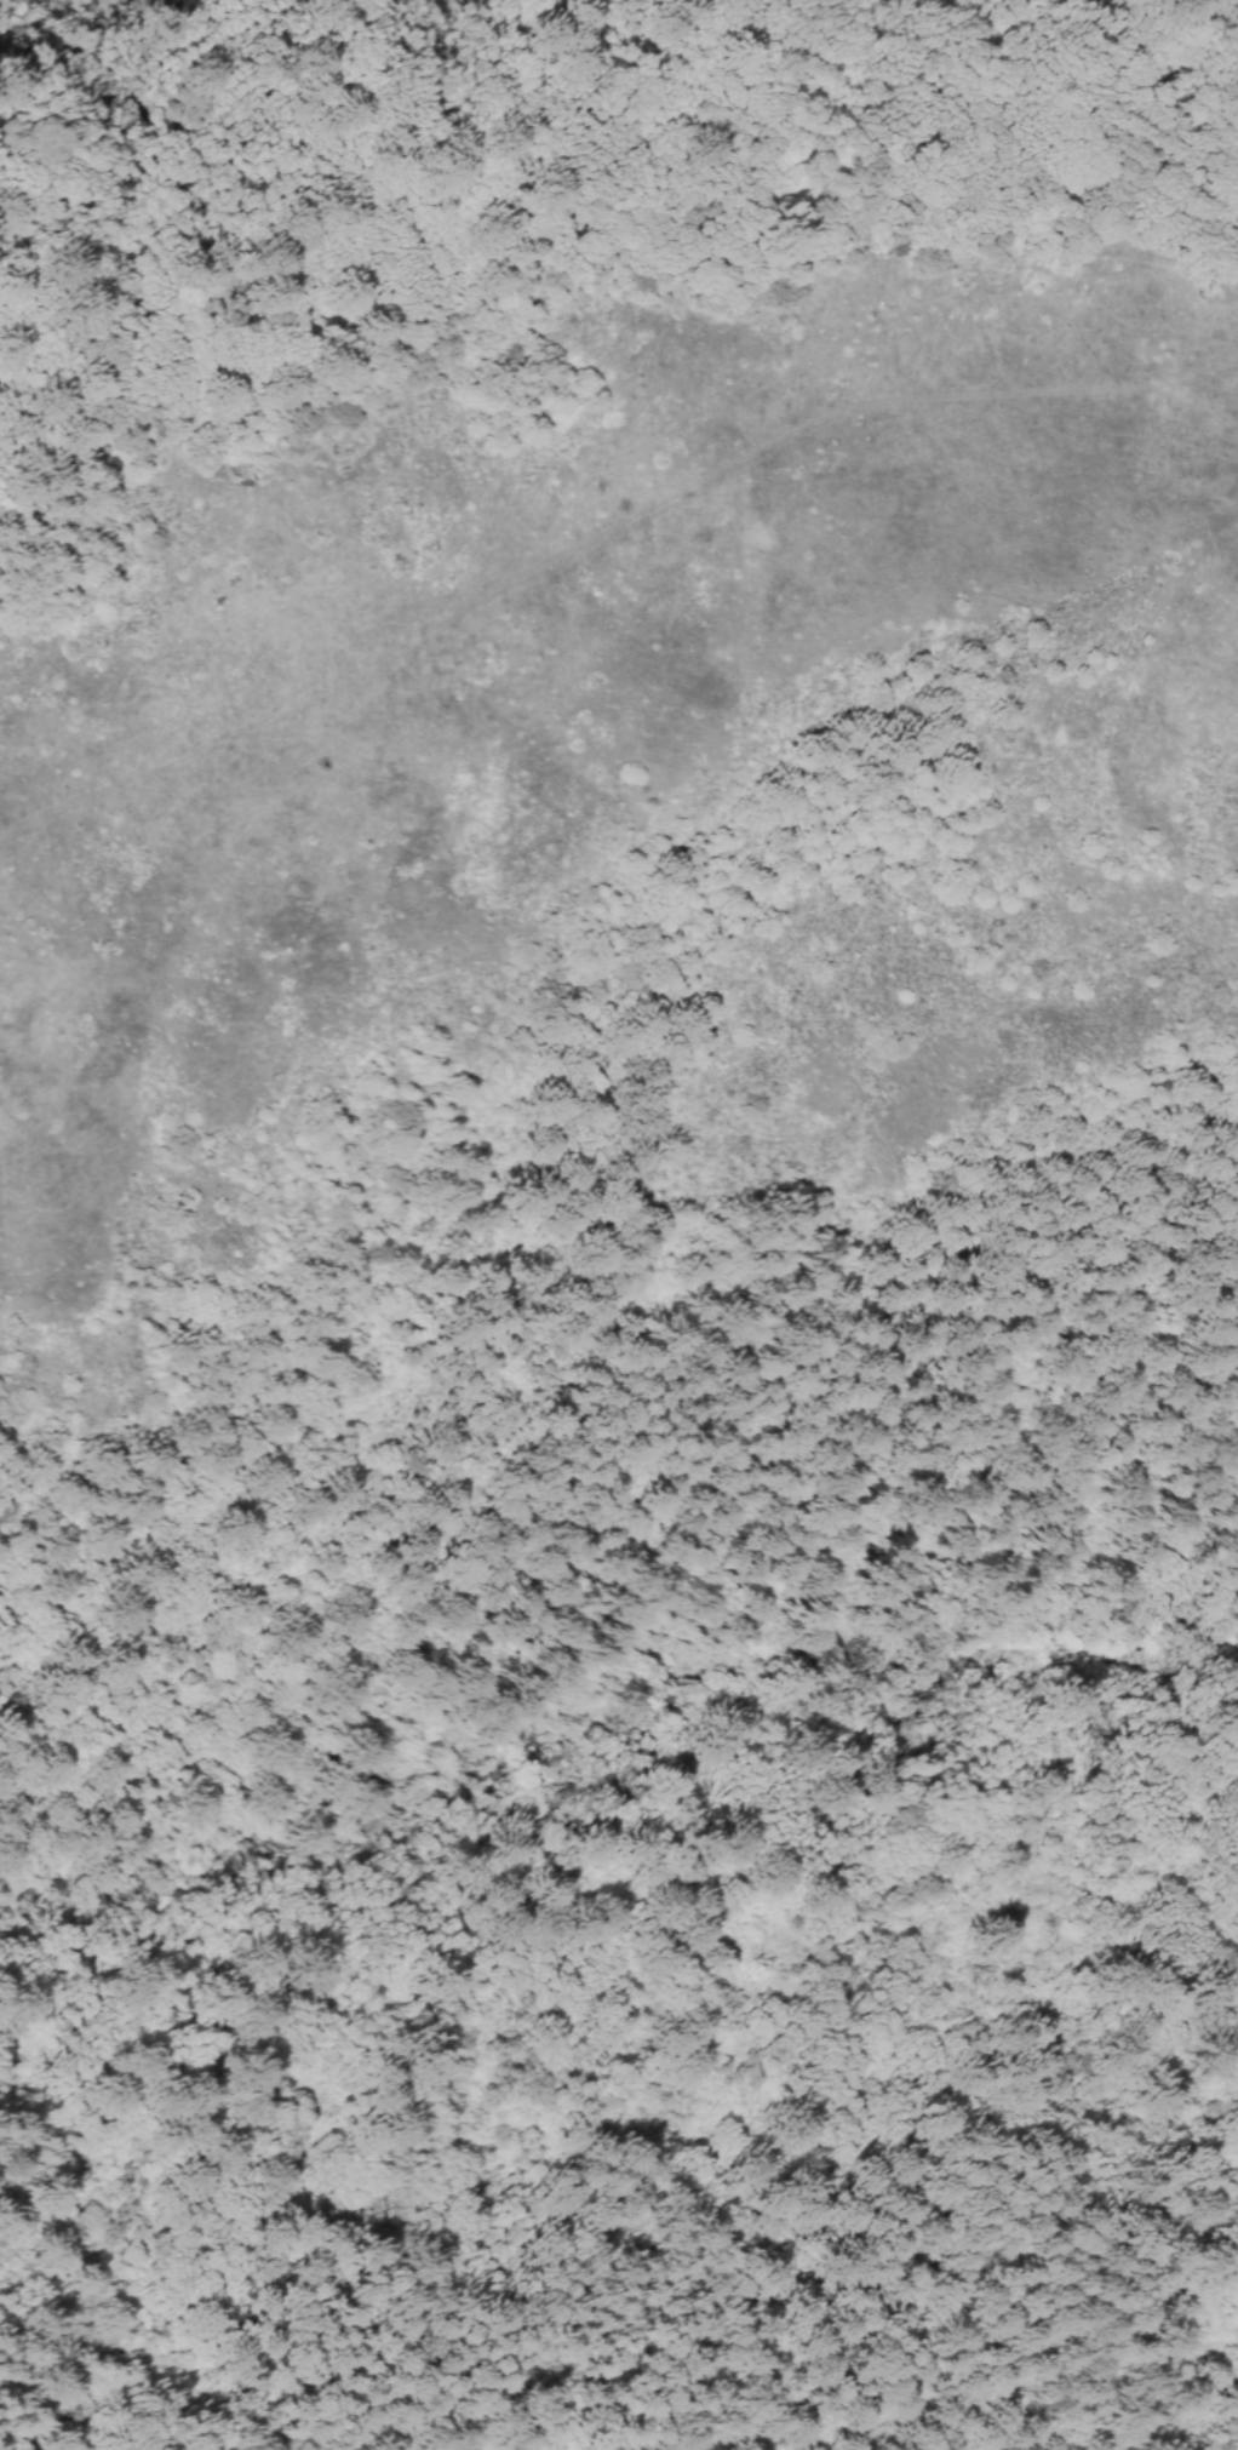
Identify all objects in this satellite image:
road: (959, 2365)

